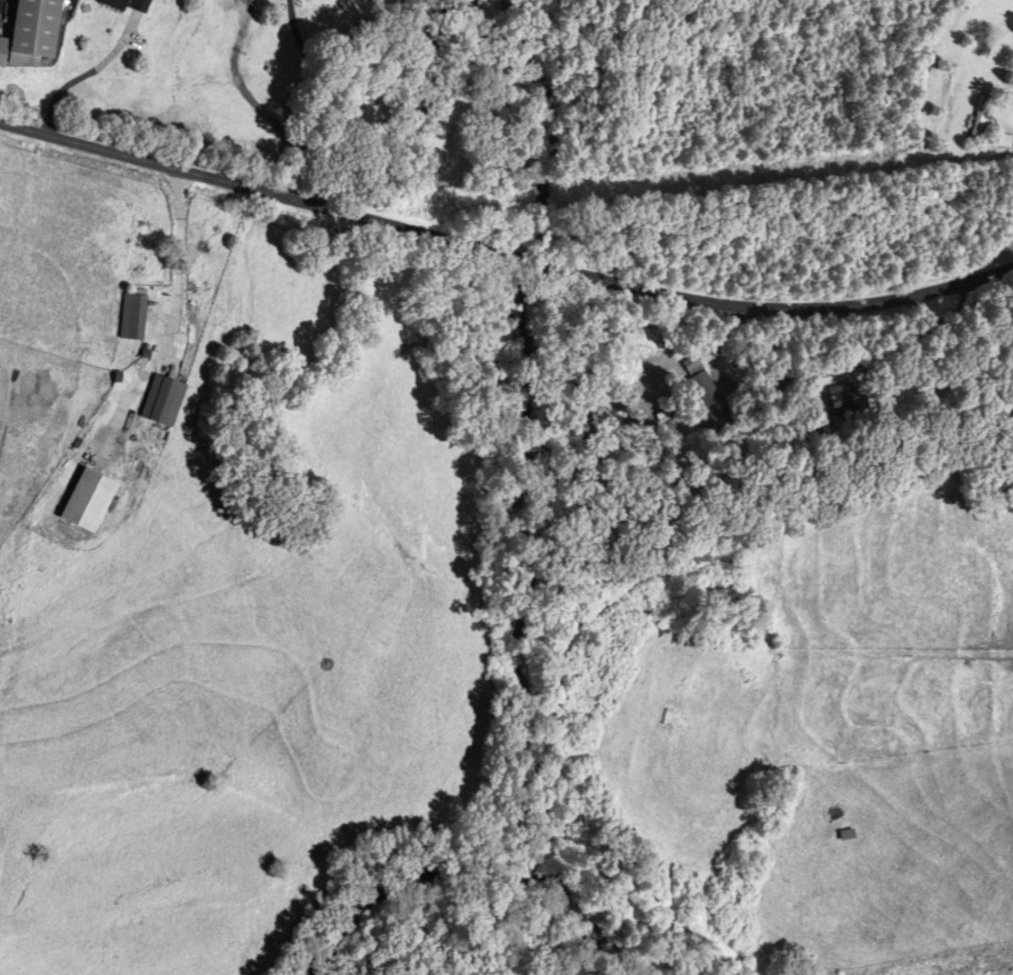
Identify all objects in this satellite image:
road: (288, 1)
road: (289, 1)
building: (127, 5)
building: (33, 35)
road: (303, 45)
road: (382, 47)
road: (86, 74)
road: (241, 86)
building: (979, 120)
road: (307, 142)
building: (1005, 142)
road: (503, 255)
building: (133, 318)
building: (707, 394)
building: (843, 399)
building: (163, 400)
building: (847, 835)

